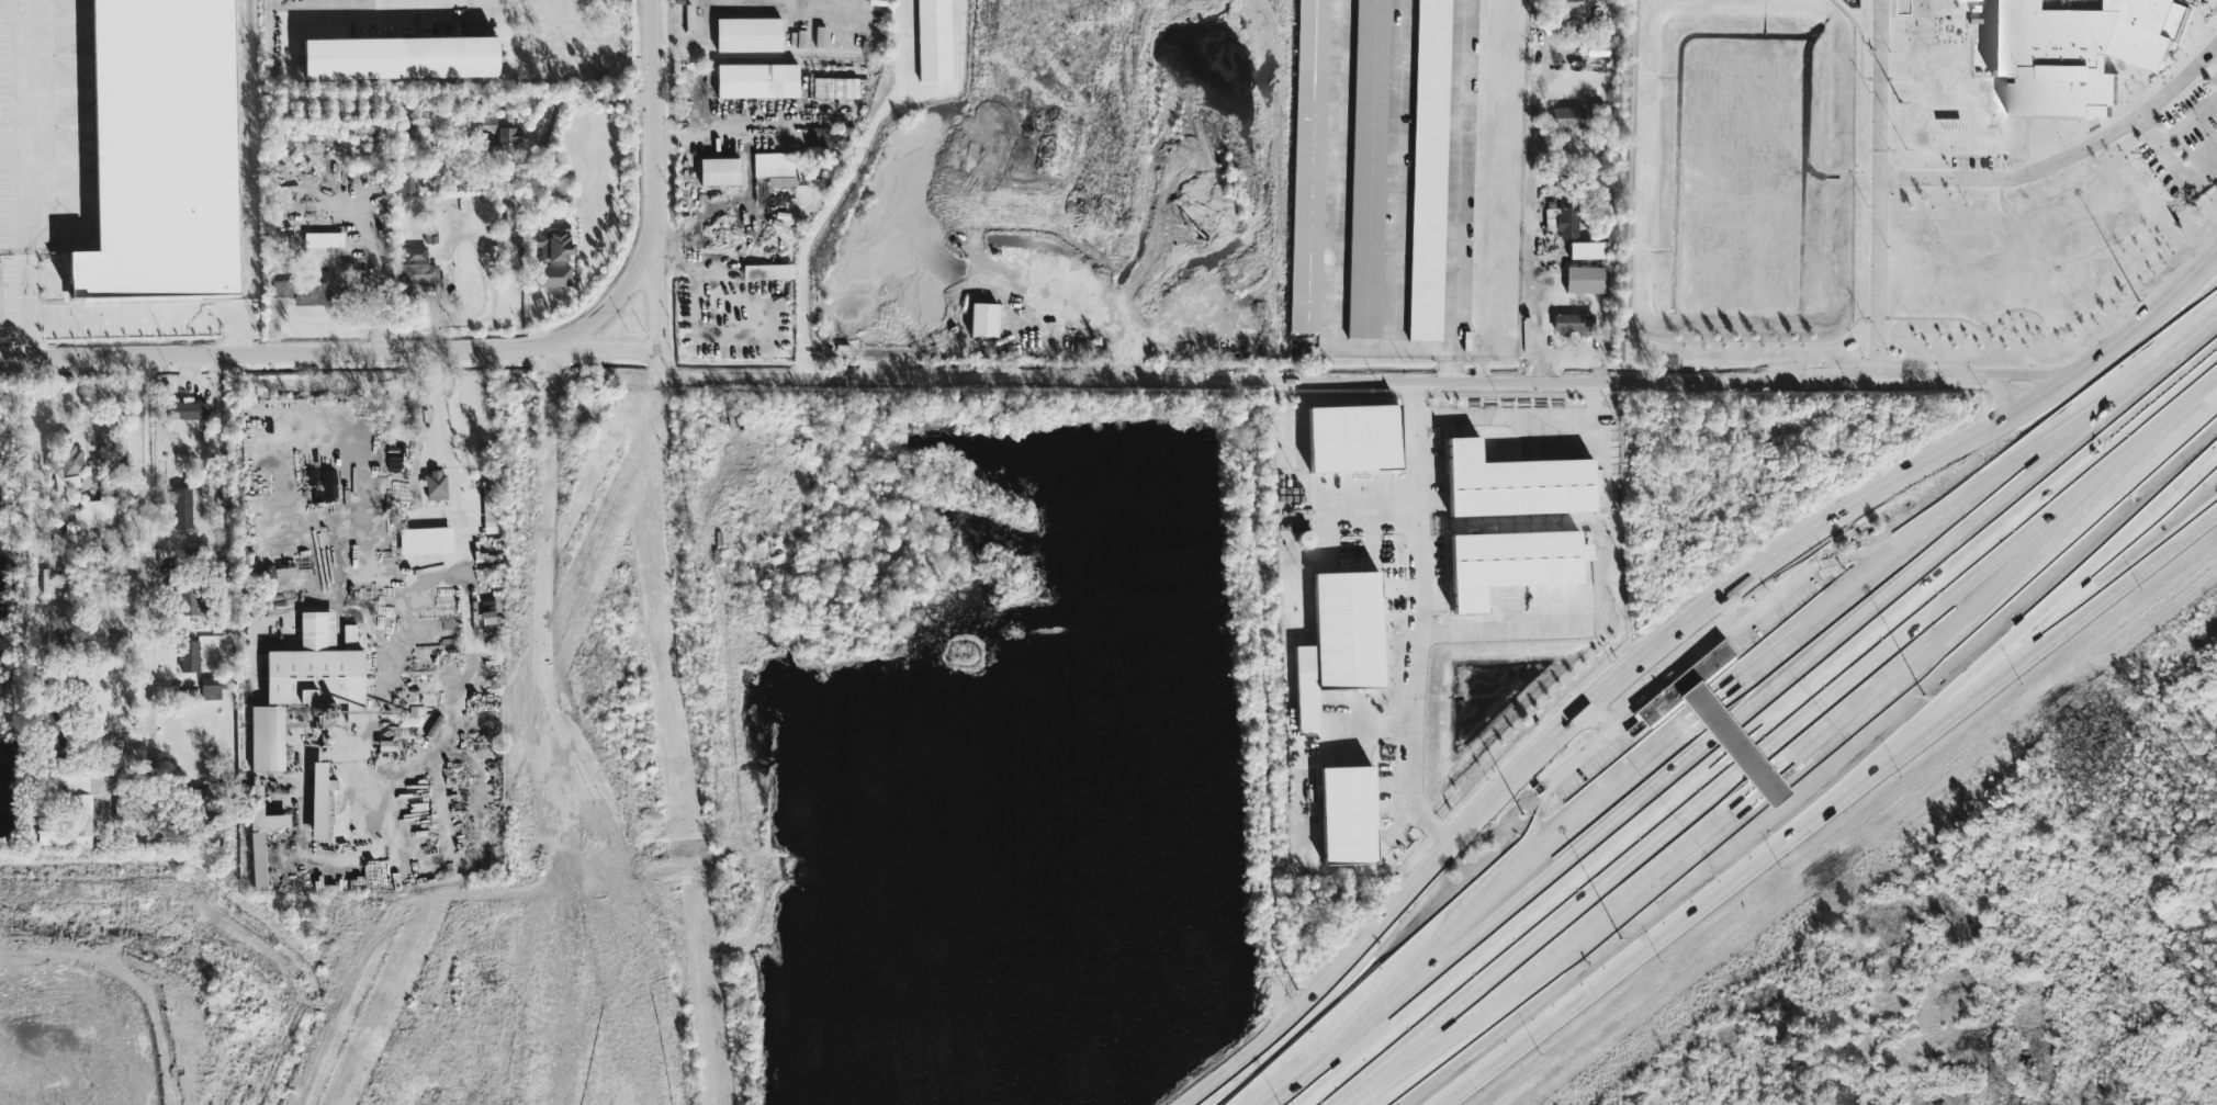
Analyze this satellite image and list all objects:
building: (1569, 7)
road: (1957, 12)
road: (1577, 14)
building: (749, 34)
building: (821, 36)
road: (1860, 37)
building: (934, 40)
road: (907, 48)
building: (2075, 49)
building: (399, 56)
road: (2137, 65)
road: (958, 68)
road: (1879, 77)
building: (757, 80)
road: (582, 87)
building: (835, 87)
road: (1880, 87)
road: (1954, 105)
building: (1568, 116)
road: (2111, 119)
road: (2188, 121)
road: (25, 129)
building: (499, 129)
road: (1566, 133)
road: (1921, 137)
building: (821, 138)
parking lot: (2187, 142)
road: (1987, 154)
road: (2172, 158)
road: (2001, 161)
building: (1308, 166)
building: (775, 167)
building: (1368, 169)
building: (719, 170)
building: (1430, 170)
parking lot: (1976, 170)
road: (1969, 174)
road: (2001, 177)
road: (656, 181)
building: (404, 183)
road: (1456, 190)
road: (818, 221)
building: (1567, 222)
building: (508, 224)
road: (1539, 225)
building: (324, 239)
building: (554, 243)
building: (1585, 249)
building: (494, 251)
building: (417, 266)
building: (767, 271)
building: (553, 275)
building: (1586, 279)
road: (1627, 285)
road: (2116, 289)
building: (307, 290)
road: (615, 303)
road: (1876, 316)
road: (127, 318)
building: (983, 318)
building: (1575, 324)
road: (333, 354)
road: (2028, 372)
road: (1323, 379)
road: (2000, 394)
building: (187, 409)
road: (1520, 415)
road: (216, 422)
building: (105, 437)
building: (1353, 437)
road: (672, 448)
road: (718, 452)
building: (69, 467)
building: (1515, 483)
building: (436, 485)
road: (757, 493)
building: (182, 507)
building: (94, 512)
road: (803, 514)
road: (1369, 516)
road: (1970, 530)
road: (402, 532)
building: (425, 540)
road: (148, 550)
road: (553, 552)
building: (1511, 562)
road: (2077, 573)
road: (1989, 576)
building: (193, 599)
road: (399, 599)
road: (1734, 608)
road: (1414, 621)
road: (1489, 633)
building: (1339, 640)
road: (1674, 641)
building: (189, 655)
road: (1684, 661)
road: (484, 662)
building: (316, 667)
building: (1685, 686)
building: (211, 688)
road: (1721, 695)
road: (1262, 706)
toll booth: (1708, 707)
road: (1602, 712)
toll booth: (1730, 732)
building: (58, 733)
building: (267, 737)
road: (115, 762)
toll booth: (1759, 763)
road: (386, 797)
building: (256, 799)
building: (318, 800)
road: (572, 802)
road: (1827, 807)
building: (1347, 814)
building: (72, 816)
building: (258, 860)
road: (1506, 918)
road: (1545, 934)

